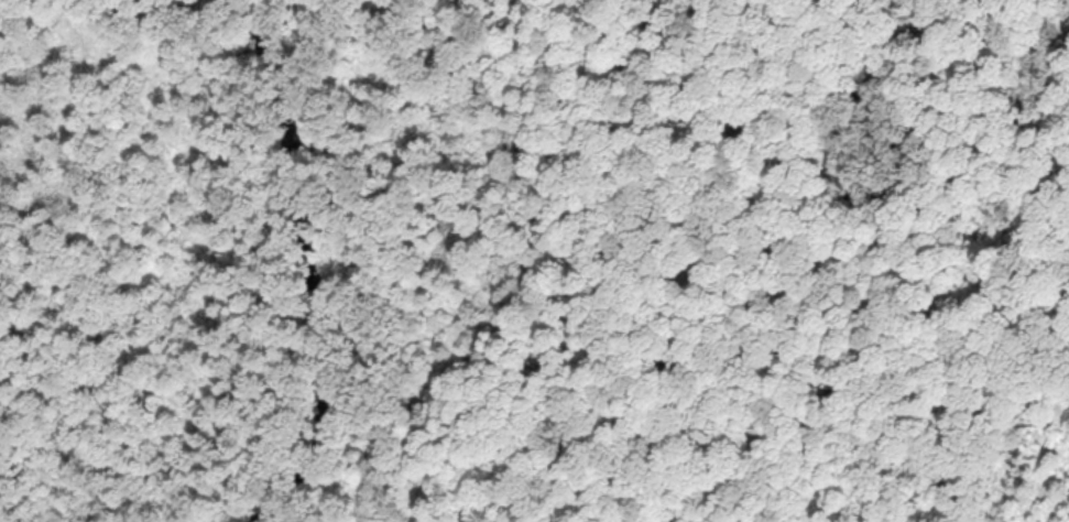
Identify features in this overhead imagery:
road: (669, 132)
road: (849, 231)
road: (797, 239)
park: (534, 261)
road: (1060, 261)
road: (520, 380)
road: (615, 382)
road: (728, 384)
road: (851, 394)
road: (851, 398)
road: (909, 455)
road: (888, 459)
road: (864, 463)

